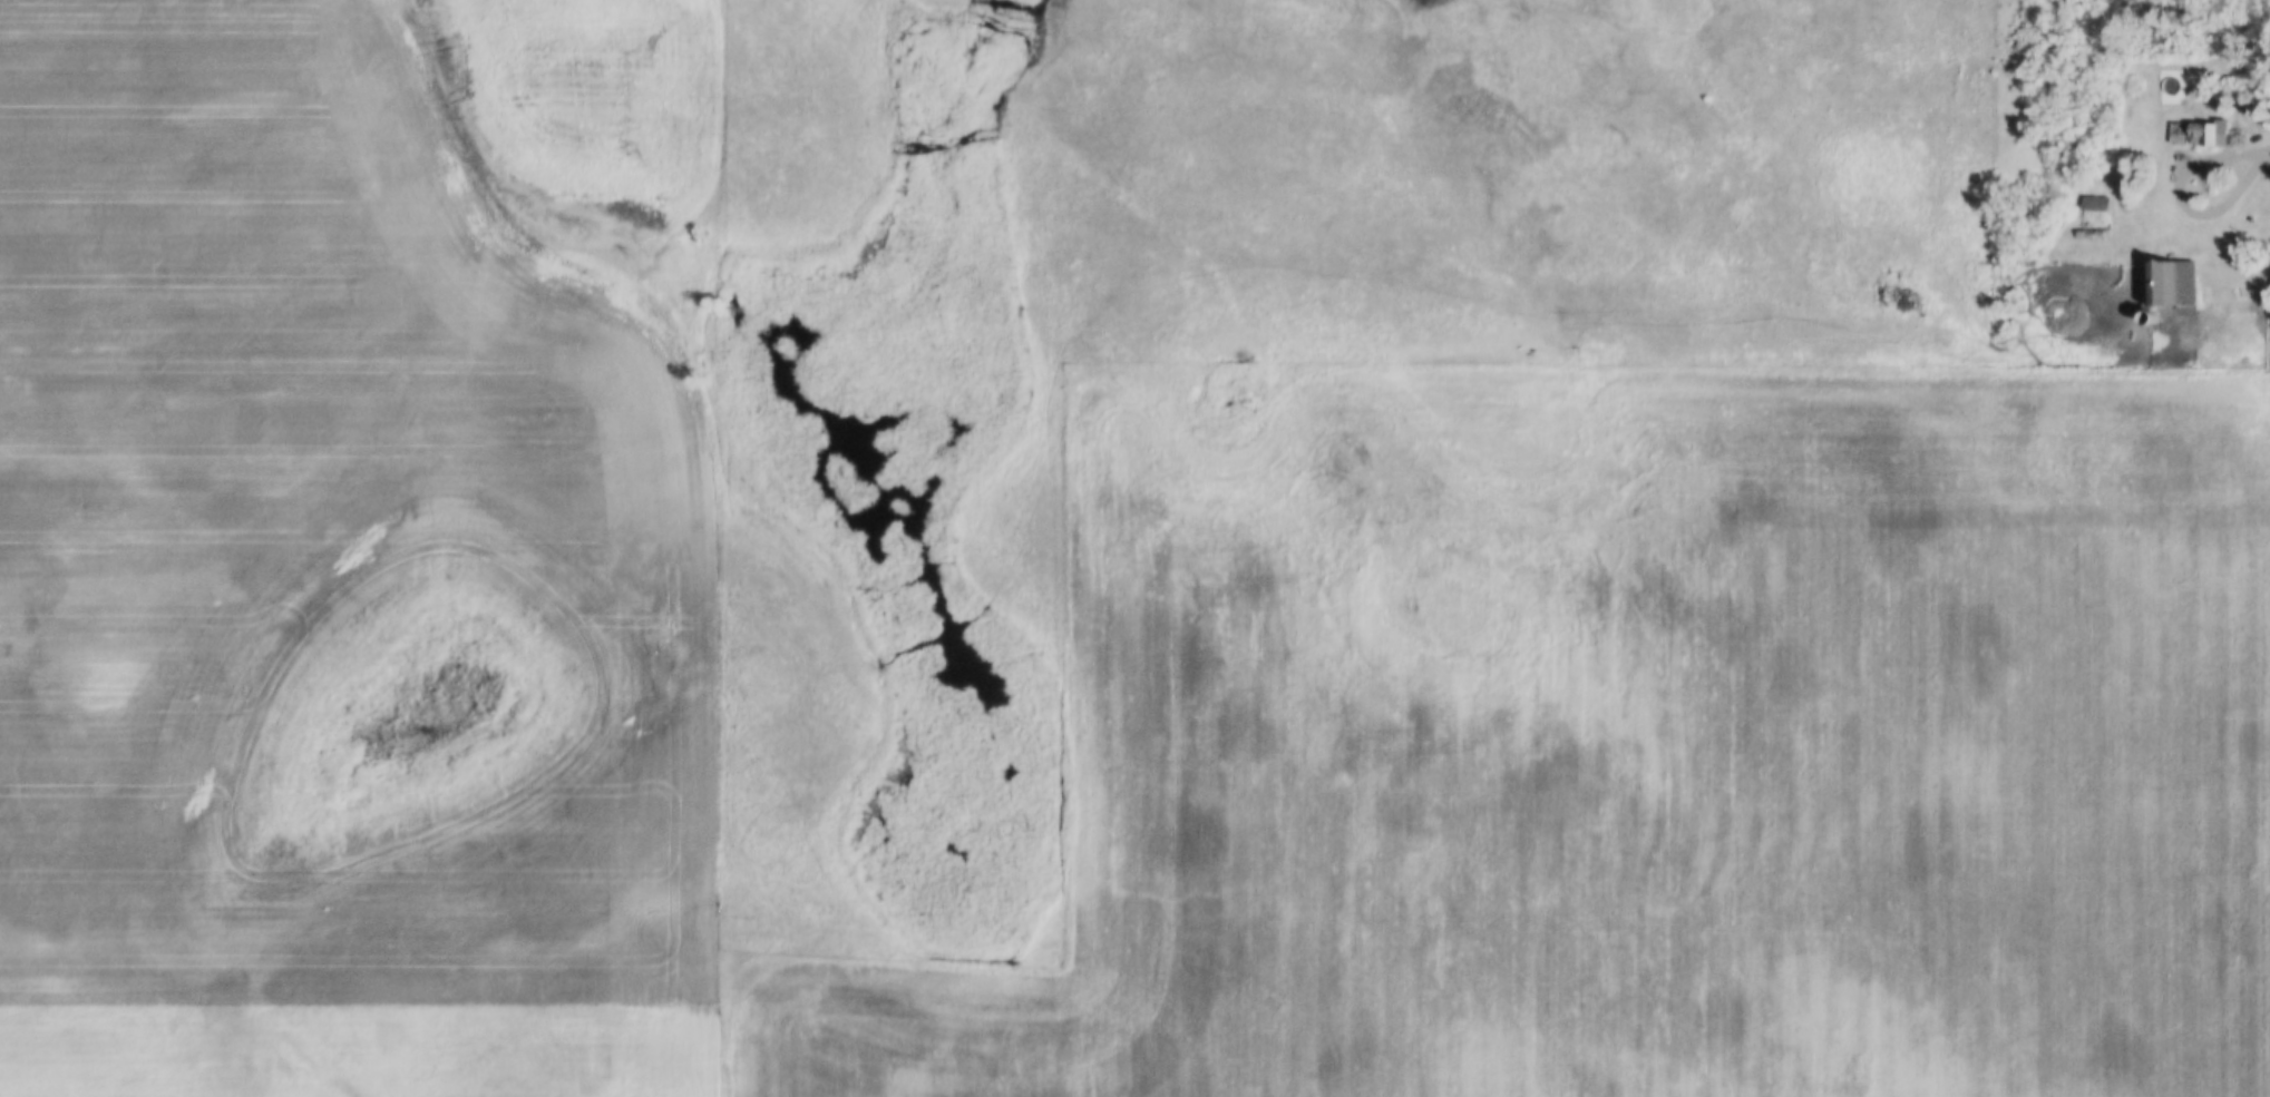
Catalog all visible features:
building: (2196, 134)
road: (2266, 144)
road: (2179, 198)
building: (2096, 212)
building: (2164, 273)

